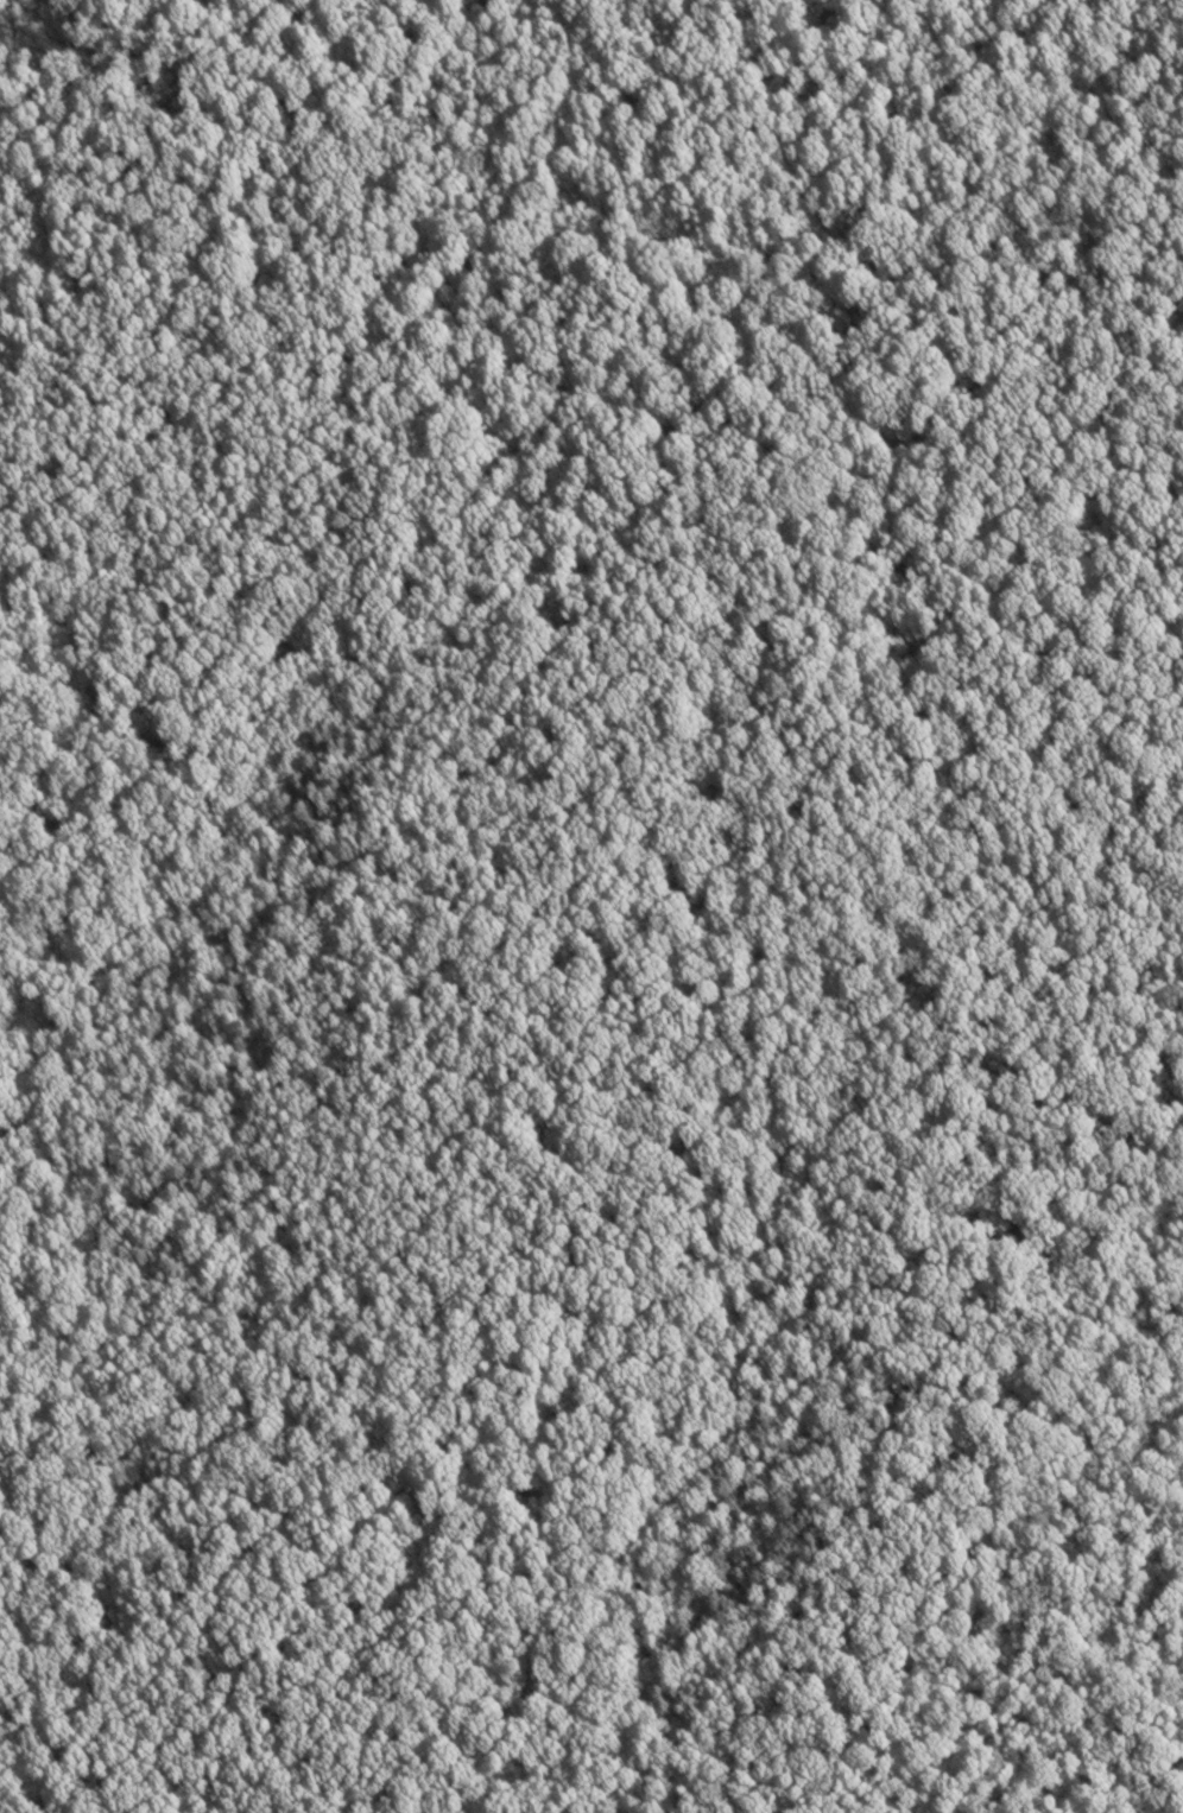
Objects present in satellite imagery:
road: (1069, 1674)

